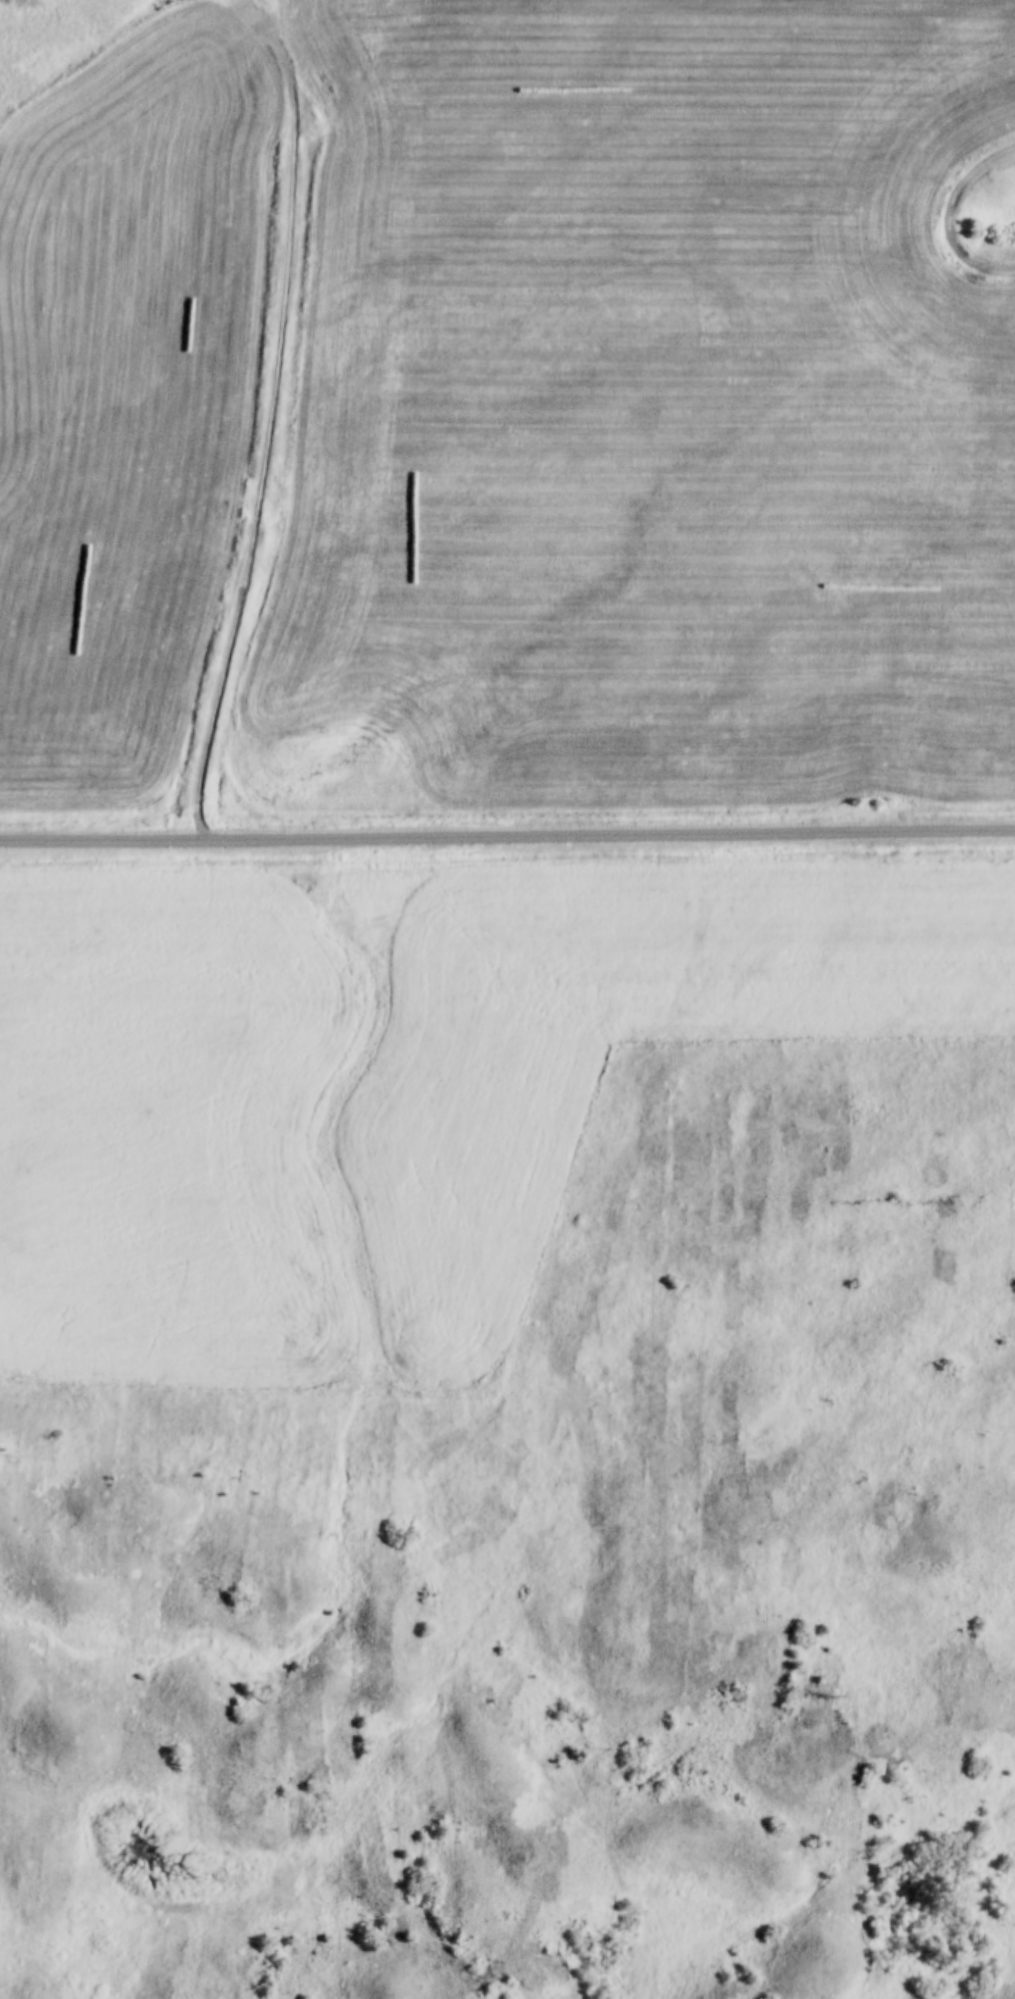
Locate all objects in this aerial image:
quarry: (53, 38)
road: (947, 212)
road: (270, 418)
road: (507, 835)

